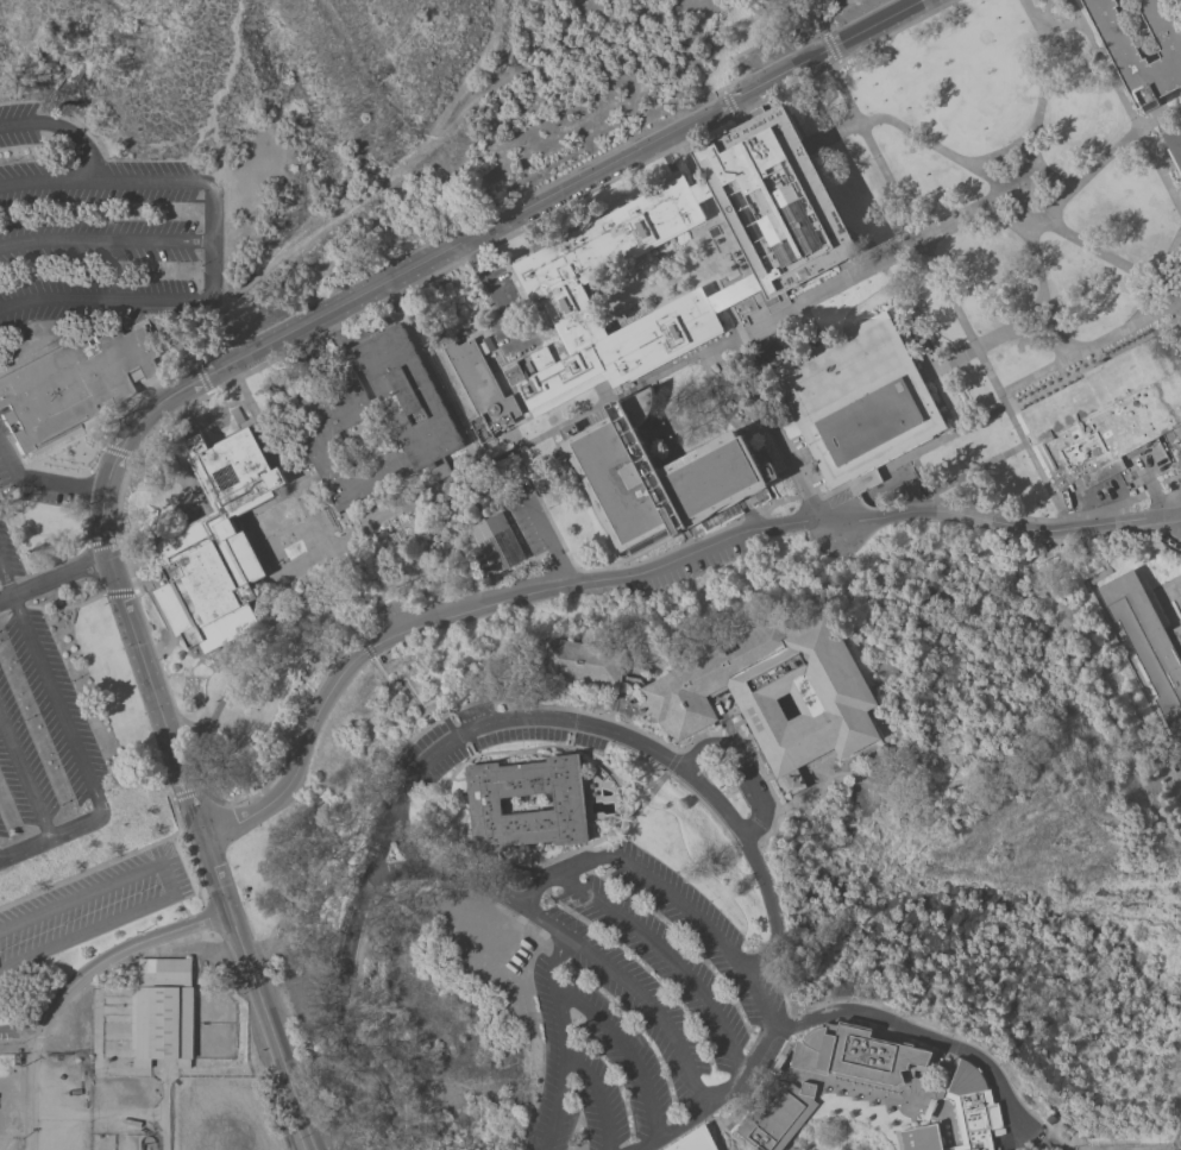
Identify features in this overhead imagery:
parking lot: (855, 10)
road: (813, 17)
road: (793, 20)
street lamp: (1070, 21)
road: (1039, 24)
road: (1049, 27)
road: (780, 38)
road: (1141, 38)
street lamp: (812, 40)
road: (830, 46)
parking lot: (774, 50)
building: (1124, 54)
parking lot: (752, 63)
street lamp: (748, 74)
street lamp: (1038, 81)
road: (218, 95)
road: (728, 102)
road: (784, 102)
road: (1125, 105)
road: (471, 107)
street lamp: (843, 111)
road: (759, 112)
road: (1038, 115)
road: (767, 120)
street lamp: (1127, 122)
road: (784, 128)
road: (61, 131)
road: (783, 134)
road: (912, 134)
road: (780, 139)
road: (778, 144)
building: (1174, 145)
road: (794, 151)
road: (1107, 156)
street lamp: (112, 157)
road: (723, 158)
street lamp: (871, 159)
street lamp: (14, 161)
road: (722, 164)
road: (759, 164)
road: (1035, 166)
road: (720, 169)
road: (717, 172)
road: (1055, 177)
road: (102, 181)
road: (718, 181)
road: (696, 182)
road: (718, 187)
street lamp: (1018, 188)
road: (701, 190)
road: (703, 195)
building: (775, 202)
street lamp: (59, 207)
street lamp: (152, 207)
street lamp: (1034, 208)
road: (1022, 210)
street lamp: (900, 216)
road: (1000, 221)
street lamp: (1176, 225)
road: (322, 228)
parking lot: (102, 231)
road: (836, 233)
road: (618, 234)
road: (618, 239)
road: (835, 239)
road: (209, 240)
road: (103, 244)
road: (833, 245)
road: (529, 250)
road: (534, 250)
road: (736, 251)
road: (677, 252)
road: (1167, 254)
road: (836, 257)
road: (1112, 257)
street lamp: (103, 264)
street lamp: (201, 266)
street lamp: (928, 266)
road: (646, 268)
road: (692, 268)
road: (118, 270)
road: (842, 272)
road: (766, 275)
road: (766, 281)
road: (772, 282)
road: (466, 284)
road: (715, 284)
parking lot: (502, 285)
road: (698, 287)
road: (831, 287)
road: (516, 288)
road: (666, 288)
road: (402, 290)
street lamp: (1175, 290)
road: (491, 291)
road: (733, 291)
road: (947, 291)
building: (554, 294)
road: (735, 295)
road: (439, 296)
road: (674, 296)
road: (473, 299)
road: (103, 301)
street lamp: (947, 303)
road: (664, 304)
road: (661, 306)
road: (659, 307)
street lamp: (1038, 307)
road: (149, 308)
road: (705, 308)
road: (797, 308)
road: (803, 308)
road: (1025, 310)
road: (469, 313)
road: (565, 313)
road: (564, 315)
road: (1174, 319)
road: (470, 326)
road: (567, 326)
road: (1168, 326)
road: (808, 328)
road: (372, 329)
road: (471, 335)
road: (651, 335)
road: (995, 338)
road: (651, 339)
road: (821, 341)
street lamp: (966, 343)
road: (1089, 347)
road: (1124, 348)
street lamp: (423, 351)
road: (188, 357)
road: (693, 357)
road: (307, 362)
road: (1060, 372)
street lamp: (982, 373)
building: (1069, 375)
road: (201, 377)
road: (364, 379)
road: (434, 382)
building: (73, 383)
road: (183, 388)
road: (603, 388)
street lamp: (442, 389)
building: (480, 390)
road: (714, 396)
road: (735, 396)
street lamp: (997, 400)
road: (615, 401)
building: (858, 402)
street lamp: (245, 406)
road: (545, 408)
road: (995, 409)
building: (1106, 411)
street lamp: (598, 413)
street lamp: (758, 417)
road: (84, 422)
road: (184, 423)
building: (422, 423)
road: (563, 423)
road: (769, 423)
street lamp: (1012, 428)
street lamp: (465, 433)
road: (564, 433)
road: (564, 435)
road: (49, 451)
road: (117, 451)
road: (910, 453)
street lamp: (774, 455)
street lamp: (1028, 458)
parking lot: (1156, 458)
road: (95, 459)
road: (283, 461)
road: (554, 461)
parking lot: (803, 463)
road: (649, 467)
parking lot: (894, 472)
road: (316, 473)
road: (780, 475)
road: (921, 475)
building: (655, 476)
parking lot: (4, 479)
road: (450, 479)
road: (769, 479)
road: (43, 482)
road: (1148, 486)
road: (86, 488)
street lamp: (1047, 495)
road: (789, 497)
road: (913, 497)
parking lot: (51, 498)
road: (803, 499)
road: (769, 505)
road: (477, 507)
street lamp: (1144, 509)
road: (999, 511)
road: (195, 515)
street lamp: (742, 515)
street lamp: (256, 516)
road: (806, 517)
road: (378, 521)
road: (472, 522)
parking lot: (532, 524)
road: (1067, 528)
road: (410, 532)
street lamp: (804, 532)
road: (1118, 532)
road: (517, 533)
street lamp: (334, 535)
road: (685, 536)
road: (823, 536)
street lamp: (266, 538)
road: (1035, 539)
parking lot: (829, 540)
building: (497, 542)
road: (548, 542)
road: (102, 543)
road: (1073, 543)
building: (216, 545)
road: (258, 547)
road: (553, 547)
road: (637, 552)
road: (1003, 554)
road: (67, 559)
road: (463, 561)
road: (417, 563)
street lamp: (279, 565)
road: (359, 565)
road: (618, 565)
street lamp: (621, 566)
parking lot: (681, 567)
street lamp: (579, 568)
road: (642, 570)
road: (337, 572)
road: (432, 576)
road: (52, 577)
road: (422, 583)
street lamp: (289, 584)
street lamp: (100, 586)
road: (1169, 590)
road: (118, 592)
road: (366, 601)
parking lot: (1177, 602)
road: (11, 607)
road: (63, 607)
road: (326, 611)
road: (159, 616)
parking lot: (382, 616)
building: (1180, 621)
road: (353, 633)
road: (357, 640)
building: (1148, 641)
road: (269, 647)
road: (364, 648)
street lamp: (121, 651)
building: (580, 661)
road: (1135, 668)
road: (49, 691)
building: (775, 691)
road: (558, 706)
street lamp: (144, 715)
road: (610, 715)
road: (1113, 719)
road: (1019, 723)
road: (460, 733)
road: (1011, 734)
parking lot: (40, 735)
road: (446, 742)
road: (551, 746)
road: (195, 759)
road: (671, 761)
road: (739, 765)
road: (905, 765)
road: (24, 778)
road: (768, 788)
road: (186, 793)
building: (484, 804)
road: (705, 807)
road: (49, 834)
street lamp: (184, 836)
road: (590, 842)
road: (603, 846)
road: (746, 847)
road: (105, 863)
road: (559, 872)
road: (988, 878)
road: (539, 881)
road: (475, 882)
road: (169, 887)
street lamp: (206, 900)
road: (561, 905)
parking lot: (90, 906)
road: (704, 928)
road: (119, 950)
road: (667, 956)
road: (764, 956)
building: (164, 972)
street lamp: (243, 994)
road: (557, 1000)
parking lot: (642, 1010)
building: (162, 1025)
road: (17, 1031)
road: (917, 1032)
street lamp: (21, 1043)
road: (674, 1043)
road: (624, 1050)
building: (858, 1055)
road: (740, 1070)
road: (31, 1088)
building: (930, 1091)
road: (884, 1094)
road: (597, 1100)
road: (555, 1107)
building: (961, 1113)
building: (779, 1118)
road: (721, 1126)
street lamp: (296, 1140)
building: (692, 1140)

